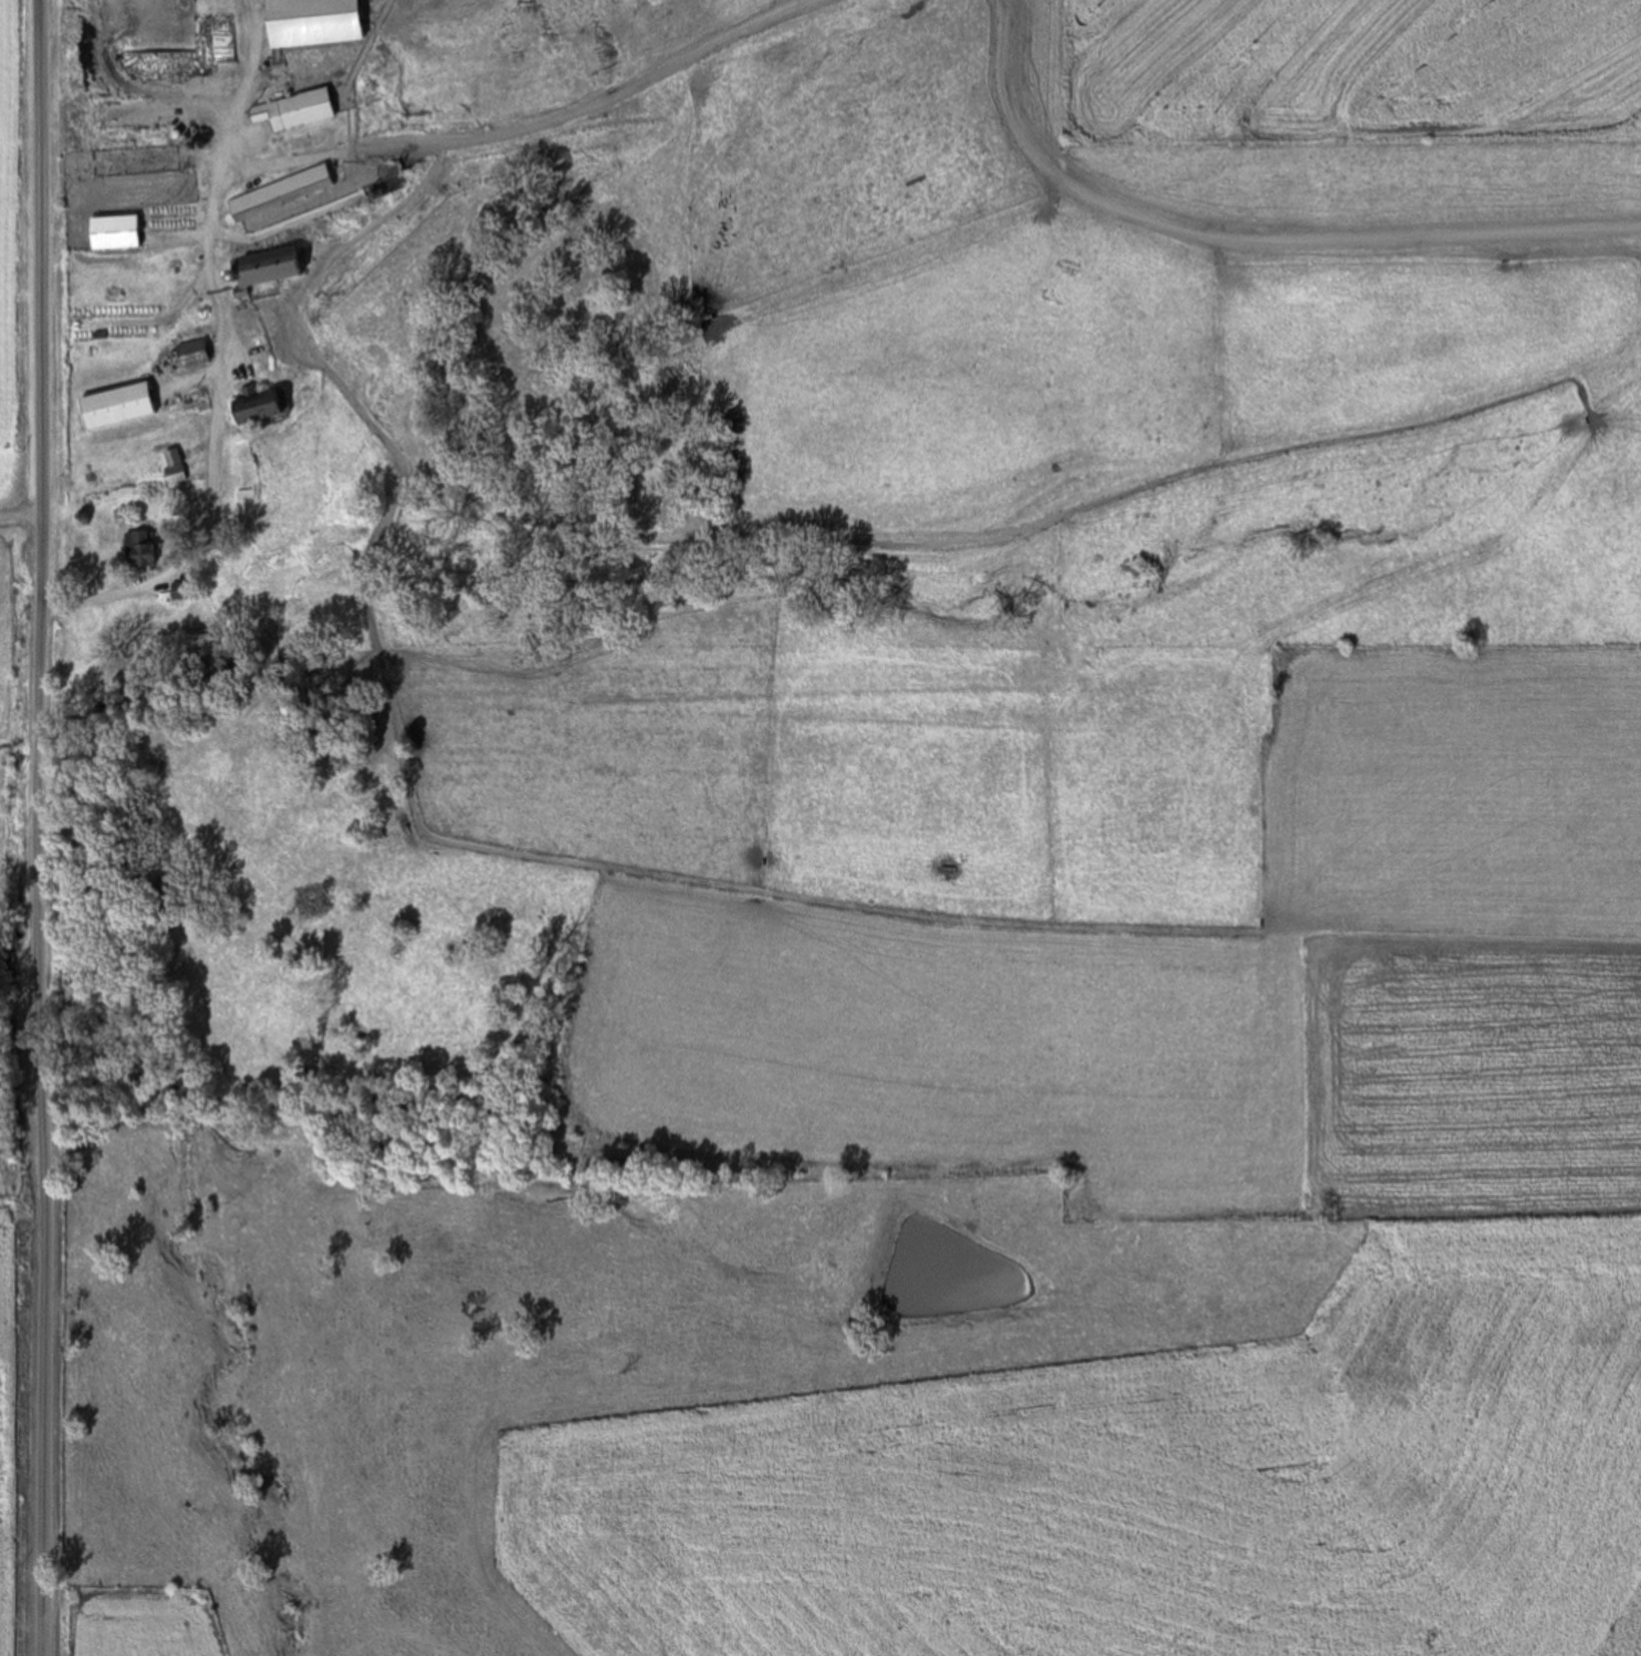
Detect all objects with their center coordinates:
building: (310, 28)
building: (291, 111)
building: (135, 161)
building: (278, 193)
building: (113, 232)
building: (265, 265)
building: (190, 355)
building: (115, 406)
building: (253, 408)
building: (171, 468)
building: (243, 495)
building: (137, 551)
building: (179, 591)
road: (43, 828)

